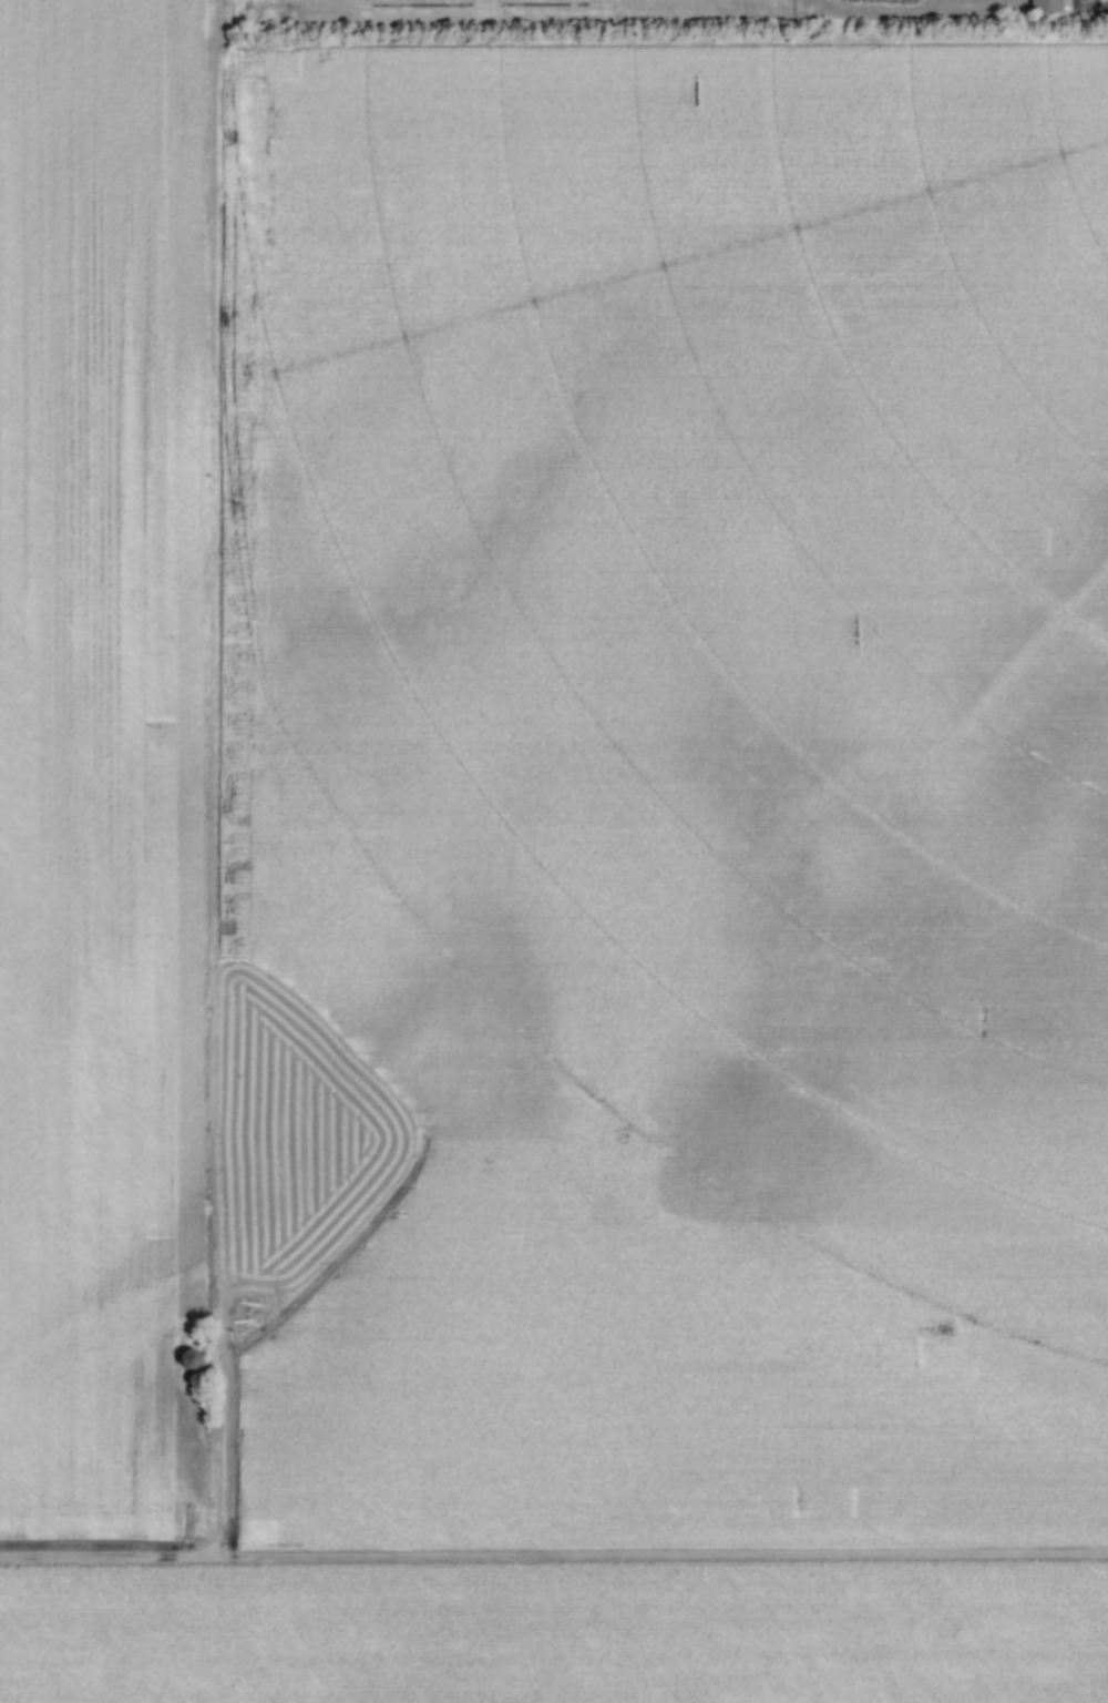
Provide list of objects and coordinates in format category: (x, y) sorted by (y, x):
building: (1049, 7)
crop: (100, 748)
crop: (560, 1634)

